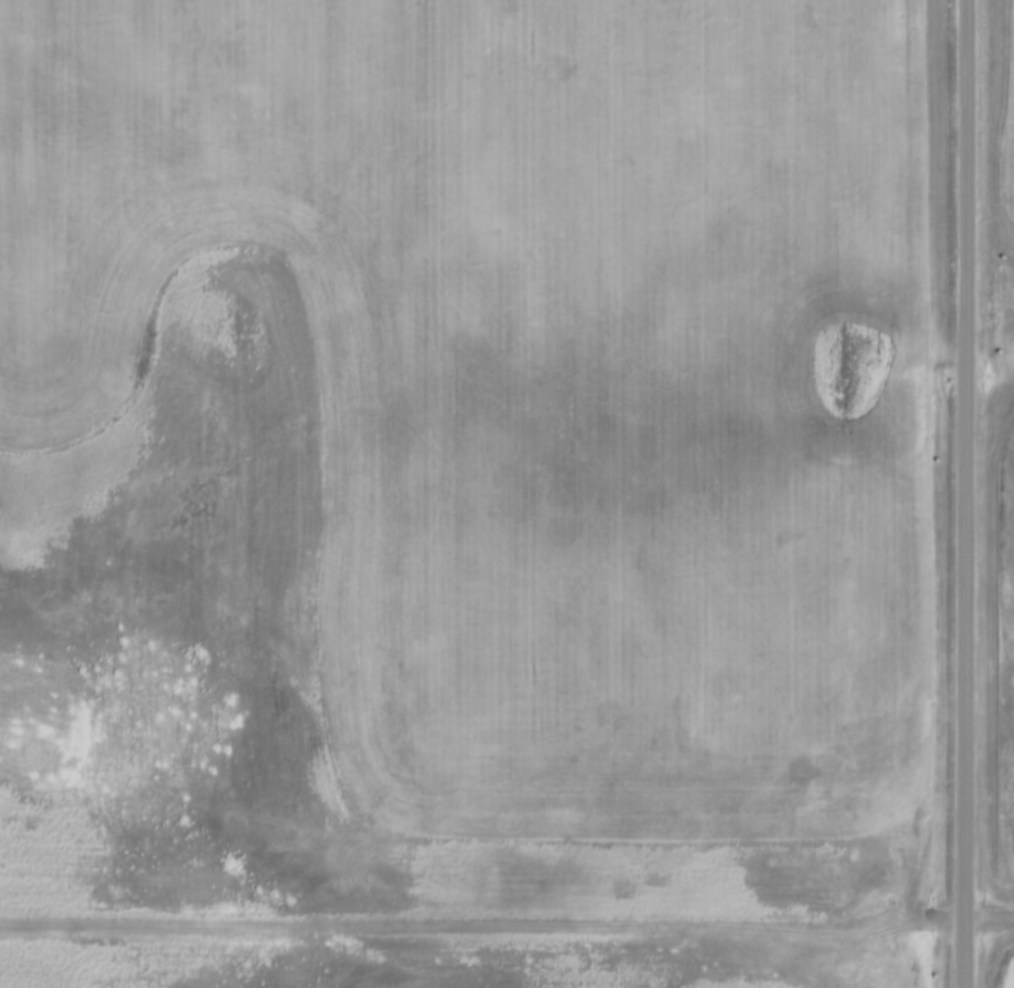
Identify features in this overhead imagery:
road: (963, 493)
road: (507, 922)

